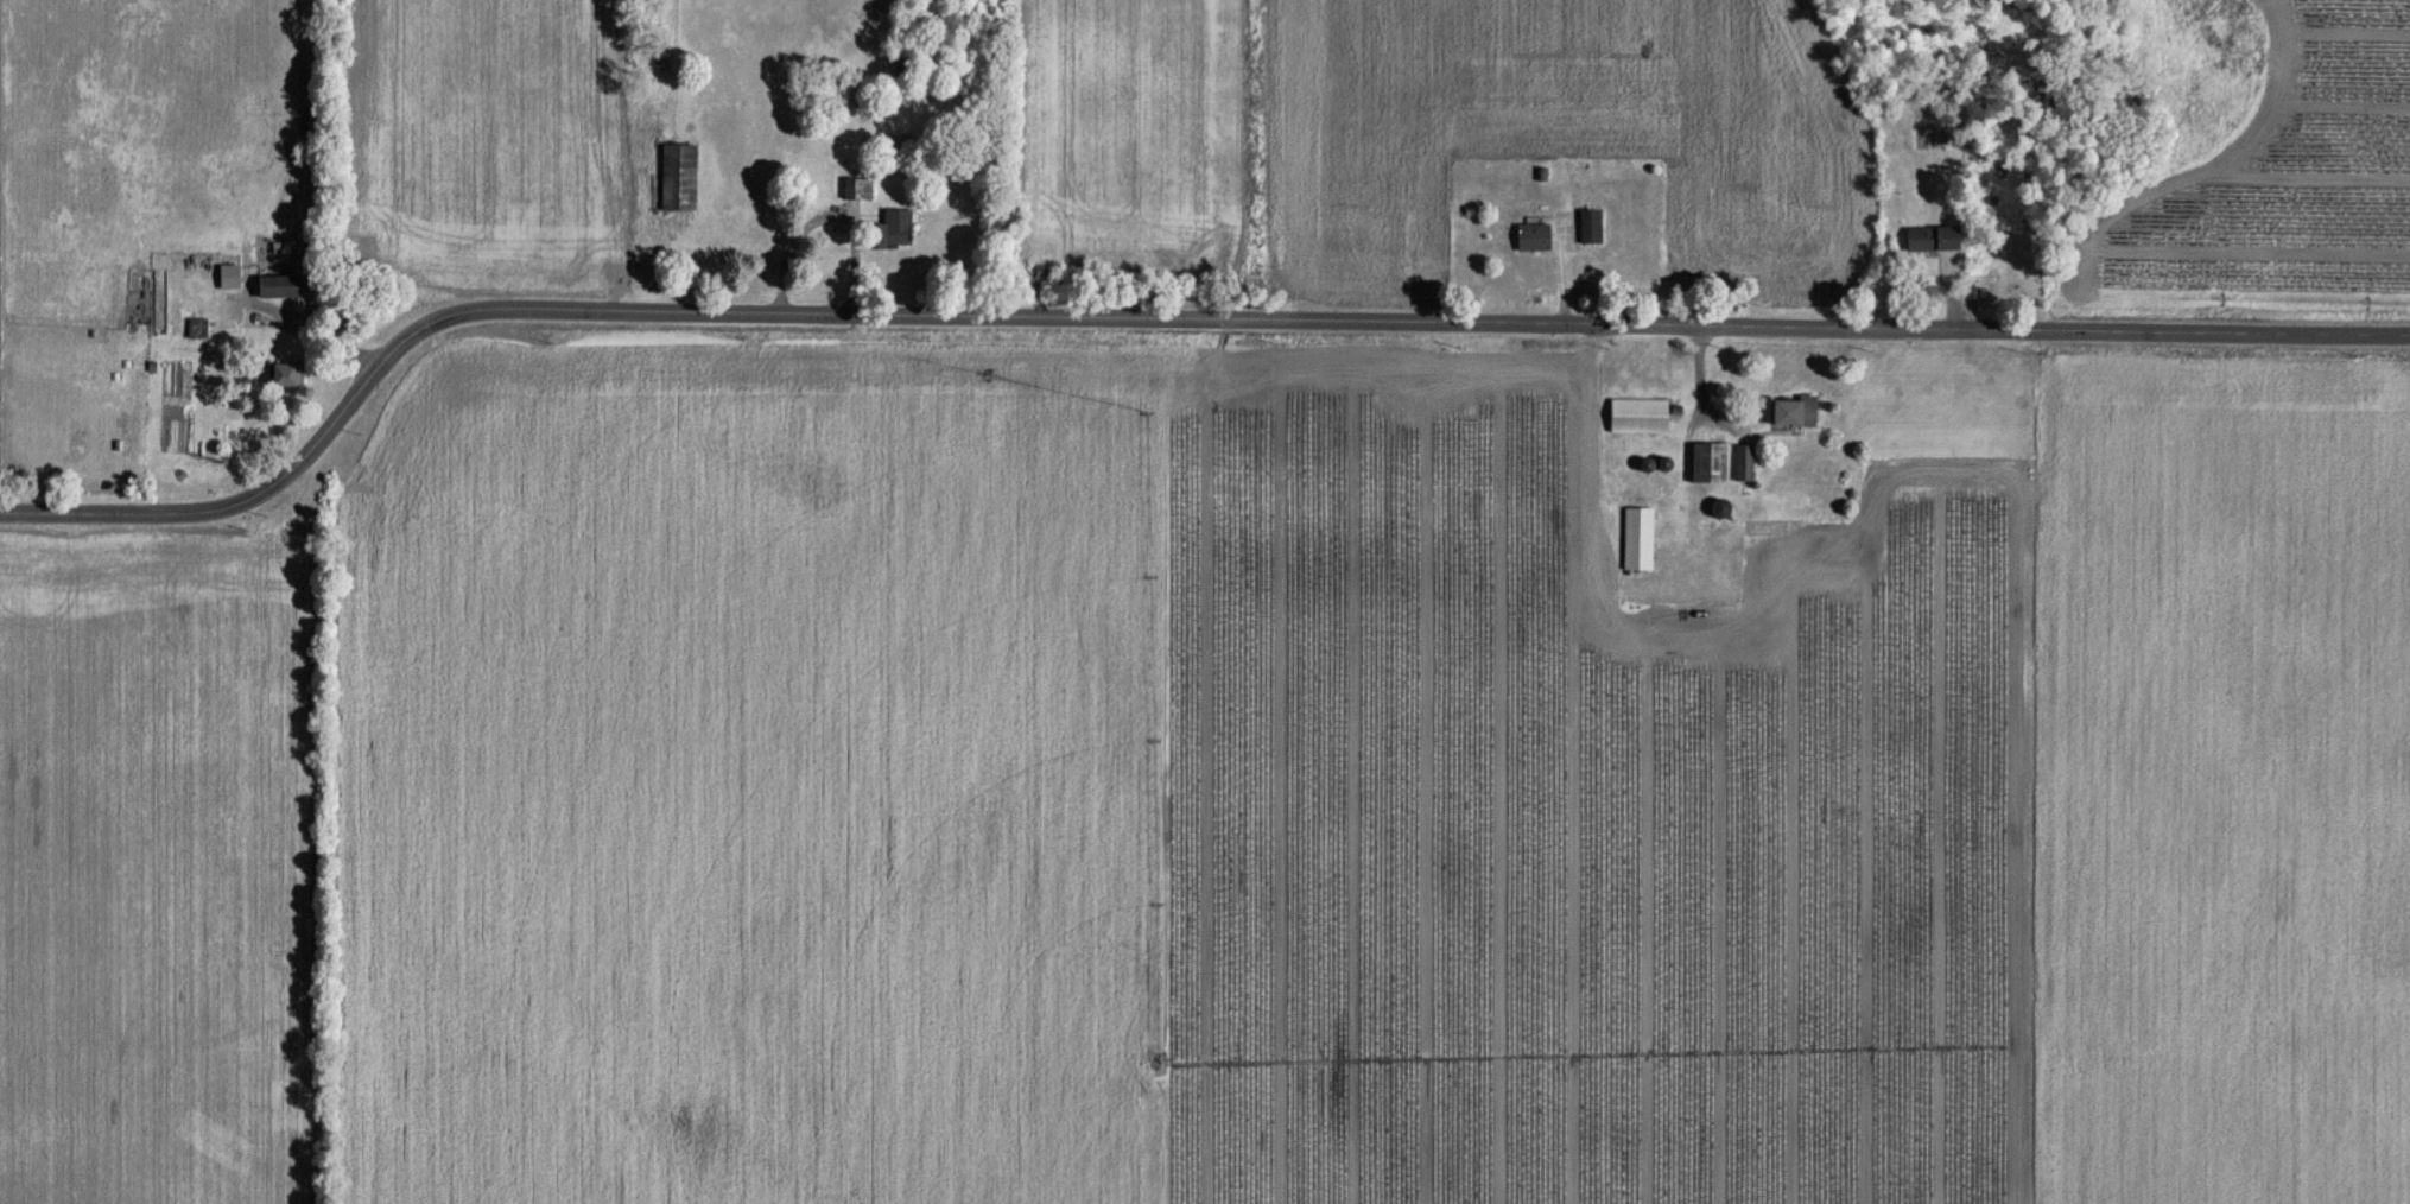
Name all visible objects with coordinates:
building: (683, 161)
building: (858, 189)
road: (831, 214)
building: (1593, 226)
building: (894, 230)
building: (1536, 235)
building: (1928, 236)
building: (284, 285)
building: (159, 299)
building: (234, 308)
road: (1163, 313)
building: (286, 372)
building: (1789, 408)
building: (1635, 412)
building: (1705, 458)
building: (1740, 460)
building: (1635, 536)

